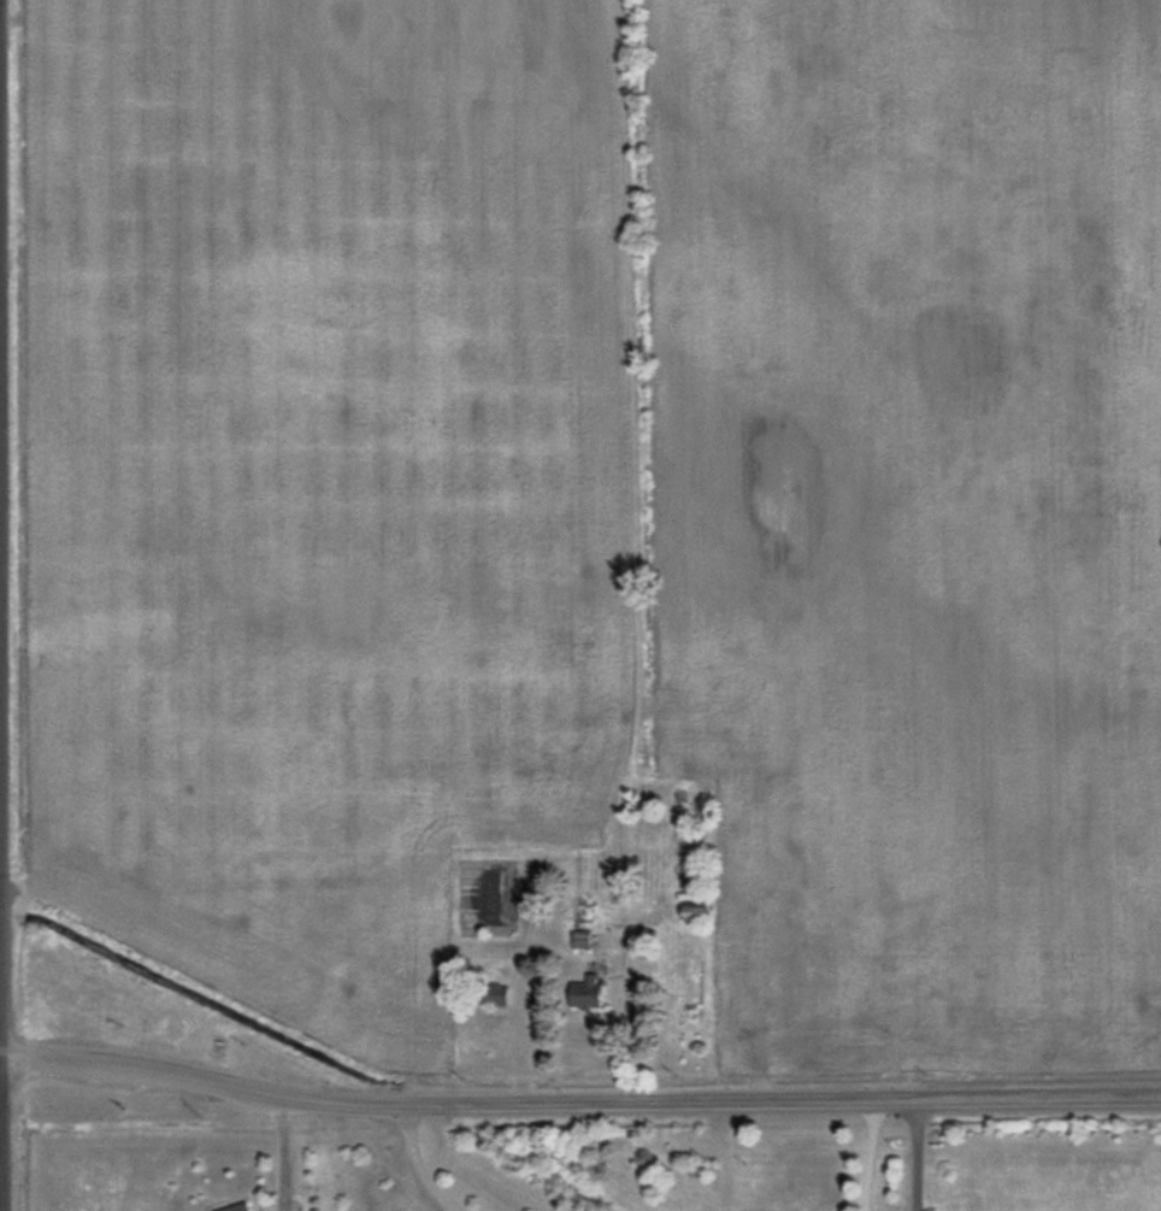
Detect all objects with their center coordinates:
crop: (607, 498)
building: (694, 910)
building: (582, 939)
building: (587, 992)
building: (496, 994)
road: (629, 1024)
road: (578, 1104)
road: (278, 1152)
road: (864, 1156)
road: (910, 1156)
road: (413, 1163)
building: (235, 1207)

